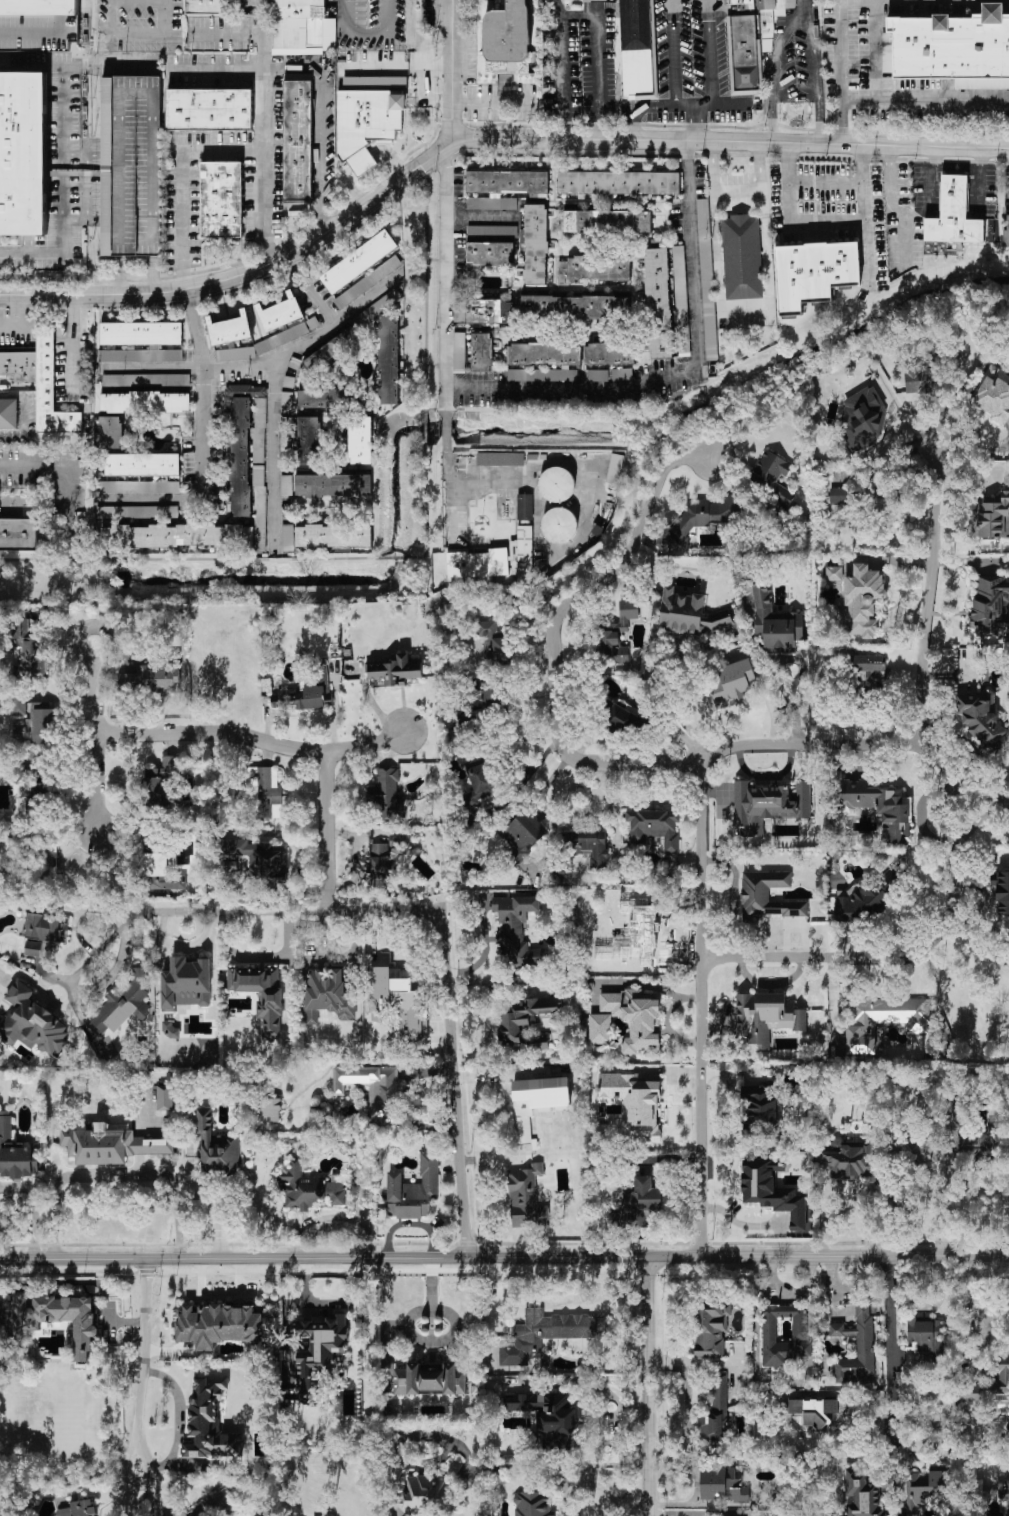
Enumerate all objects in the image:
building: (596, 0)
building: (742, 4)
building: (205, 7)
building: (772, 11)
road: (361, 16)
building: (38, 24)
building: (297, 25)
road: (226, 32)
road: (364, 32)
road: (876, 32)
building: (511, 33)
road: (138, 34)
building: (950, 48)
building: (637, 49)
road: (673, 52)
road: (708, 53)
building: (743, 54)
road: (598, 58)
road: (774, 62)
road: (37, 65)
road: (109, 65)
road: (381, 67)
road: (319, 68)
road: (451, 70)
road: (558, 71)
road: (841, 74)
building: (374, 77)
road: (815, 83)
road: (444, 100)
road: (943, 100)
road: (859, 101)
road: (674, 105)
building: (210, 108)
road: (62, 109)
building: (364, 119)
road: (695, 125)
road: (262, 132)
road: (483, 140)
building: (299, 141)
building: (24, 151)
road: (87, 152)
road: (95, 152)
road: (377, 155)
road: (932, 158)
road: (979, 159)
road: (393, 160)
building: (362, 162)
road: (363, 163)
building: (131, 164)
parking lot: (131, 164)
road: (760, 167)
road: (955, 167)
road: (714, 168)
building: (508, 179)
building: (619, 180)
road: (827, 182)
road: (349, 186)
road: (738, 188)
road: (978, 189)
building: (222, 198)
road: (930, 199)
building: (491, 202)
road: (899, 209)
building: (955, 212)
road: (479, 216)
building: (607, 219)
road: (867, 219)
road: (183, 221)
road: (791, 221)
building: (491, 231)
building: (1006, 234)
building: (536, 242)
road: (48, 252)
building: (491, 252)
building: (741, 256)
building: (358, 259)
road: (435, 259)
building: (593, 267)
road: (152, 273)
building: (810, 273)
road: (120, 274)
road: (445, 279)
building: (706, 281)
building: (366, 282)
road: (425, 282)
road: (311, 286)
road: (369, 295)
building: (680, 300)
building: (382, 302)
building: (659, 302)
building: (574, 304)
road: (745, 308)
building: (490, 309)
building: (282, 310)
road: (15, 311)
building: (458, 311)
road: (71, 314)
building: (312, 322)
building: (231, 326)
road: (15, 328)
building: (141, 331)
building: (281, 337)
building: (481, 349)
building: (332, 350)
building: (458, 351)
building: (610, 351)
building: (545, 352)
building: (234, 353)
building: (142, 355)
building: (390, 358)
road: (435, 365)
road: (70, 367)
road: (151, 367)
road: (679, 370)
building: (622, 373)
building: (542, 374)
building: (597, 375)
building: (144, 379)
building: (918, 379)
building: (41, 380)
road: (4, 383)
building: (246, 390)
road: (12, 394)
building: (334, 396)
building: (994, 398)
building: (146, 400)
building: (8, 412)
road: (203, 416)
building: (863, 419)
road: (23, 426)
road: (424, 427)
road: (445, 428)
building: (258, 429)
building: (113, 431)
building: (309, 438)
building: (361, 439)
building: (285, 443)
road: (273, 454)
building: (532, 455)
building: (240, 457)
building: (500, 457)
building: (143, 463)
building: (615, 467)
road: (52, 468)
building: (772, 476)
road: (600, 479)
building: (558, 482)
storage tank: (558, 482)
building: (286, 484)
building: (334, 484)
building: (137, 486)
road: (450, 490)
building: (840, 496)
building: (259, 504)
building: (525, 505)
road: (425, 507)
building: (137, 510)
building: (991, 517)
building: (699, 519)
building: (524, 521)
flagpole: (480, 522)
building: (561, 523)
storage tank: (561, 523)
building: (598, 529)
building: (18, 533)
building: (335, 534)
building: (176, 535)
building: (288, 536)
building: (511, 548)
building: (524, 550)
road: (186, 558)
road: (391, 558)
building: (477, 562)
building: (0, 569)
building: (834, 573)
park: (46, 581)
road: (929, 594)
building: (863, 599)
road: (95, 600)
building: (990, 605)
building: (691, 613)
building: (16, 623)
building: (776, 624)
road: (684, 630)
building: (617, 633)
road: (549, 635)
building: (494, 643)
building: (32, 652)
building: (394, 669)
building: (868, 670)
building: (153, 672)
building: (731, 684)
building: (306, 689)
building: (482, 699)
building: (18, 703)
building: (624, 716)
building: (980, 719)
building: (40, 721)
road: (94, 736)
road: (251, 737)
building: (480, 785)
building: (161, 787)
building: (40, 788)
building: (264, 792)
building: (386, 792)
building: (768, 804)
building: (879, 807)
building: (655, 827)
road: (324, 833)
building: (524, 835)
building: (398, 839)
building: (589, 845)
road: (697, 853)
building: (258, 859)
building: (36, 865)
building: (160, 866)
building: (381, 866)
building: (896, 871)
building: (1001, 892)
building: (767, 896)
building: (861, 901)
road: (184, 910)
road: (383, 912)
building: (45, 926)
building: (517, 928)
road: (485, 931)
building: (647, 935)
building: (32, 948)
road: (903, 952)
road: (258, 956)
building: (186, 983)
building: (261, 994)
building: (328, 994)
building: (123, 1002)
building: (398, 1003)
building: (765, 1017)
building: (884, 1019)
building: (524, 1020)
building: (31, 1021)
building: (644, 1022)
road: (452, 1086)
building: (376, 1090)
building: (165, 1096)
building: (635, 1102)
building: (538, 1105)
building: (271, 1109)
building: (761, 1111)
building: (110, 1144)
building: (217, 1147)
building: (15, 1152)
building: (849, 1158)
road: (974, 1171)
road: (115, 1175)
building: (310, 1187)
building: (414, 1189)
building: (773, 1191)
building: (526, 1197)
building: (640, 1202)
road: (35, 1207)
road: (217, 1215)
road: (504, 1258)
road: (327, 1303)
road: (547, 1312)
building: (59, 1317)
building: (219, 1324)
building: (711, 1329)
road: (411, 1333)
building: (547, 1333)
building: (785, 1334)
building: (925, 1341)
road: (892, 1343)
building: (857, 1345)
building: (318, 1352)
building: (430, 1379)
building: (1001, 1379)
road: (648, 1386)
building: (972, 1393)
road: (140, 1406)
building: (546, 1410)
building: (815, 1410)
building: (715, 1412)
road: (180, 1415)
building: (208, 1426)
road: (557, 1467)
road: (581, 1483)
road: (697, 1483)
building: (722, 1485)
building: (925, 1485)
building: (1005, 1492)
building: (862, 1494)
building: (424, 1496)
road: (632, 1503)
building: (532, 1504)
building: (80, 1508)
road: (610, 1509)
road: (674, 1512)
building: (906, 1514)
building: (330, 1515)

